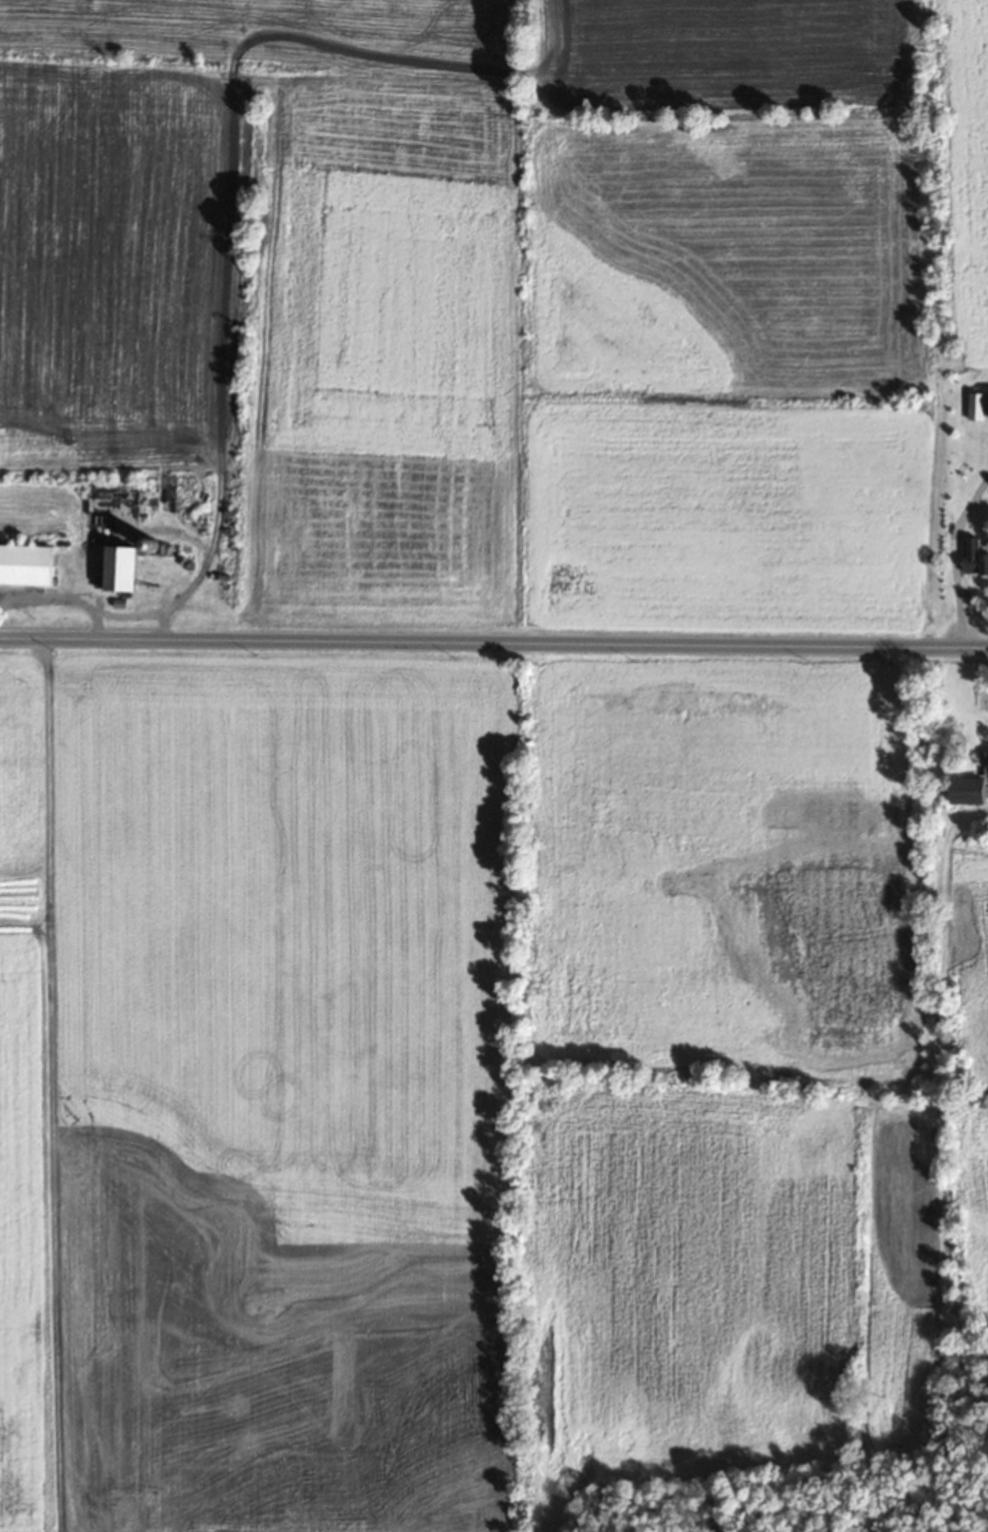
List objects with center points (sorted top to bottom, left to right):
building: (977, 404)
building: (975, 554)
building: (27, 562)
building: (125, 565)
road: (494, 643)
building: (975, 782)

